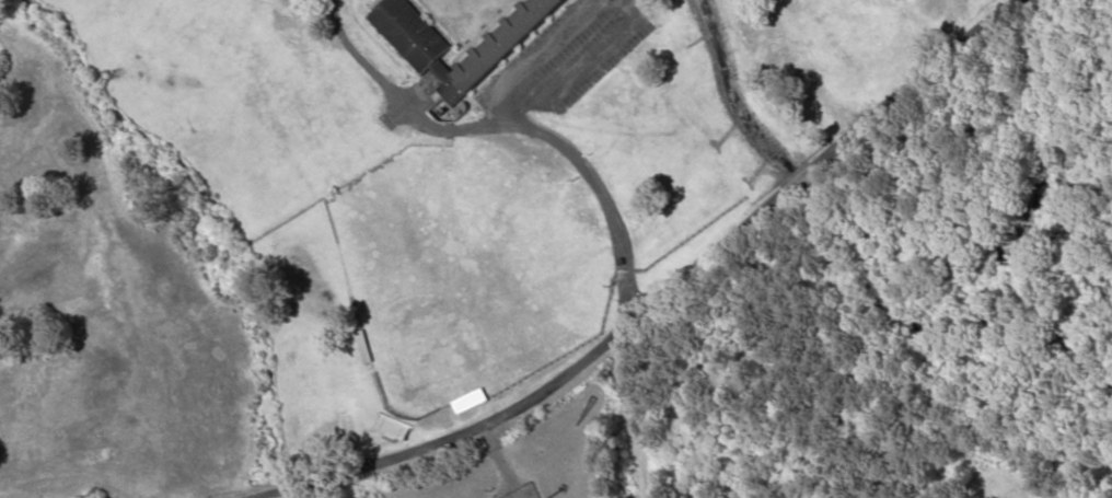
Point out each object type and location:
building: (426, 54)
parking lot: (564, 62)
road: (524, 127)
park: (470, 269)
road: (669, 297)
building: (471, 402)

